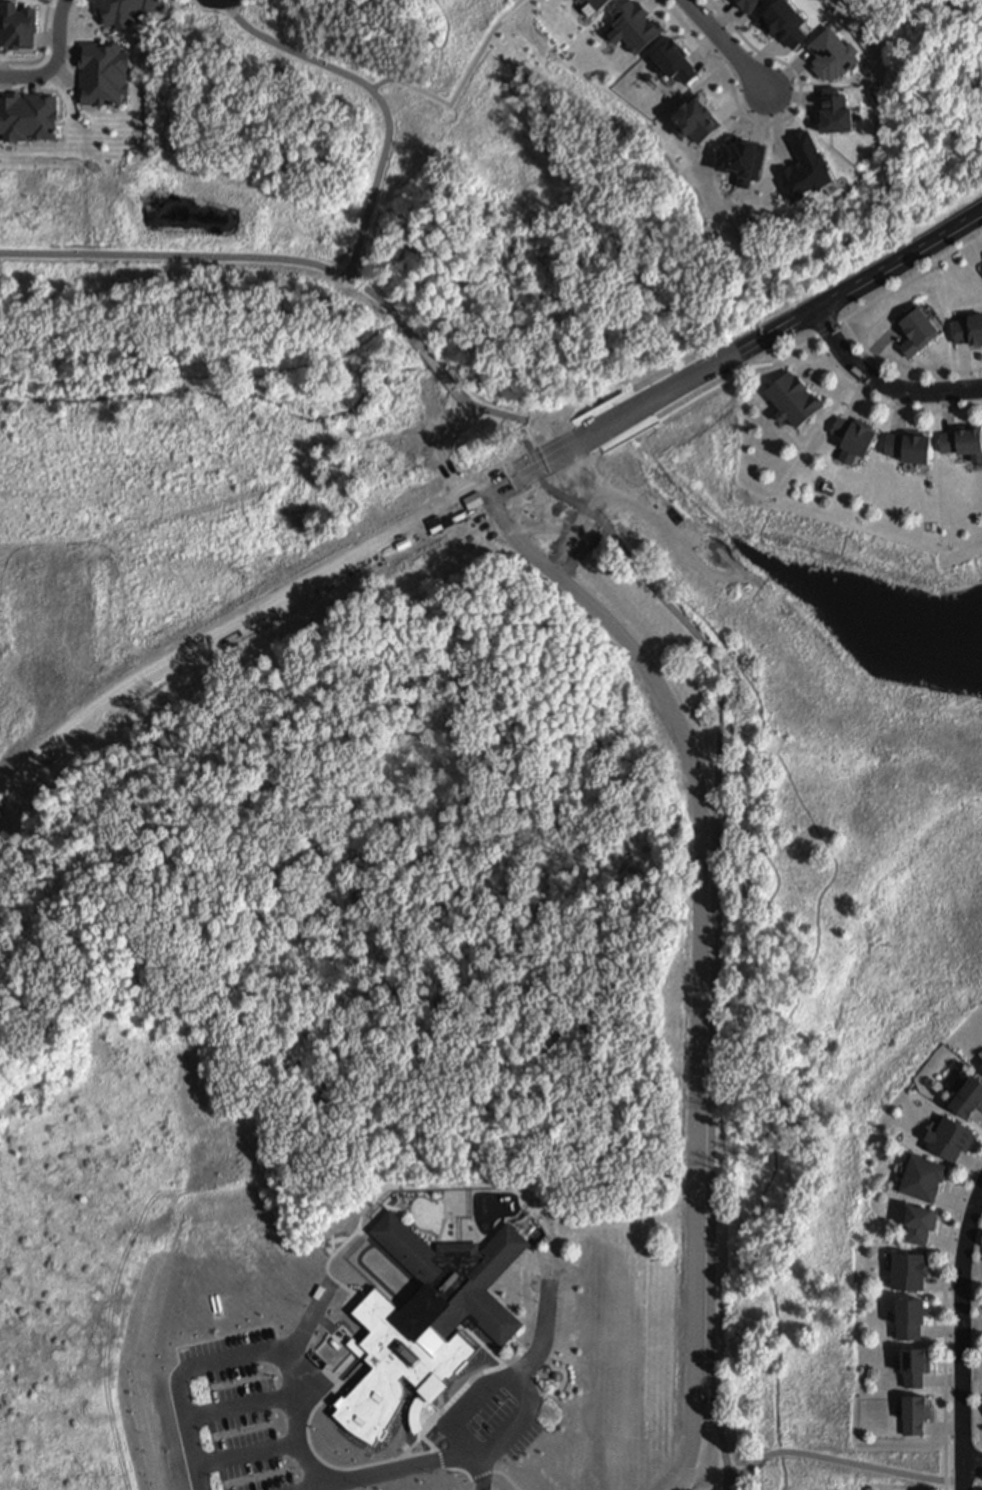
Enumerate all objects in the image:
building: (125, 9)
building: (17, 24)
road: (728, 47)
road: (45, 50)
road: (58, 62)
building: (103, 71)
road: (459, 85)
road: (376, 97)
building: (28, 116)
road: (776, 124)
park: (455, 153)
park: (186, 249)
road: (205, 257)
road: (870, 304)
road: (403, 326)
building: (916, 330)
building: (969, 333)
road: (431, 362)
road: (902, 371)
road: (203, 373)
road: (881, 381)
building: (792, 402)
road: (884, 404)
building: (854, 439)
road: (554, 443)
building: (961, 443)
building: (907, 451)
road: (482, 492)
park: (756, 587)
road: (759, 985)
road: (714, 1001)
building: (966, 1095)
road: (975, 1114)
building: (953, 1139)
road: (972, 1161)
building: (919, 1175)
road: (954, 1197)
park: (458, 1204)
road: (978, 1205)
road: (410, 1210)
building: (916, 1222)
road: (441, 1232)
road: (477, 1234)
road: (364, 1235)
road: (552, 1235)
road: (945, 1238)
road: (333, 1242)
road: (340, 1249)
road: (972, 1266)
building: (906, 1269)
road: (941, 1281)
road: (331, 1285)
road: (408, 1302)
building: (905, 1316)
road: (945, 1317)
building: (427, 1322)
road: (962, 1322)
road: (949, 1326)
road: (544, 1342)
building: (916, 1367)
road: (980, 1371)
road: (972, 1372)
road: (539, 1373)
road: (178, 1378)
building: (558, 1378)
road: (330, 1379)
road: (944, 1381)
road: (491, 1384)
road: (241, 1408)
parking lot: (235, 1415)
building: (917, 1417)
road: (447, 1421)
parking lot: (490, 1421)
road: (946, 1428)
road: (424, 1440)
road: (963, 1443)
road: (981, 1444)
road: (304, 1445)
road: (902, 1446)
road: (408, 1453)
road: (247, 1457)
road: (305, 1460)
road: (973, 1461)
road: (844, 1462)
road: (481, 1475)
road: (501, 1475)
road: (964, 1475)
road: (969, 1483)
road: (978, 1484)
road: (720, 1485)
road: (316, 1489)

